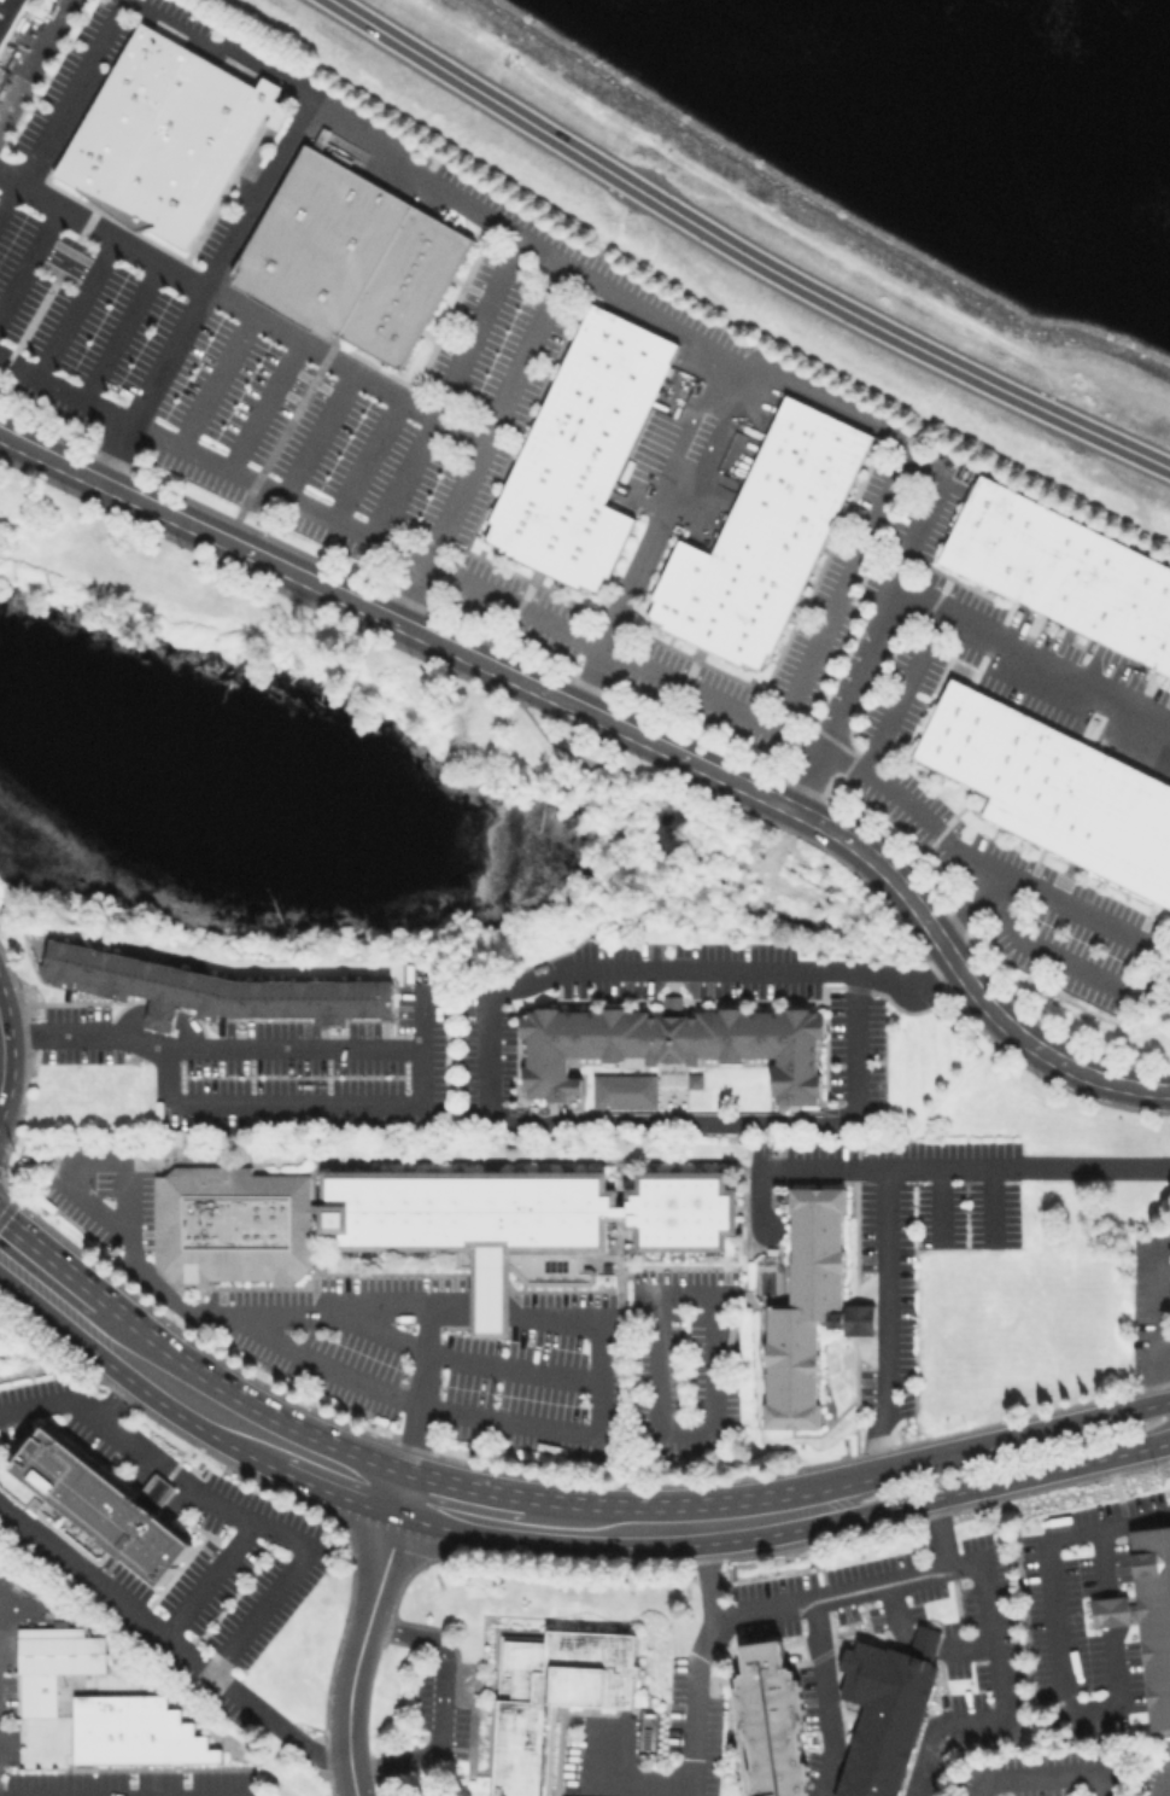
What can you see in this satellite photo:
building: (8, 16)
road: (33, 60)
building: (169, 139)
road: (741, 252)
building: (347, 256)
road: (29, 257)
road: (579, 270)
road: (206, 290)
road: (76, 305)
road: (251, 313)
road: (122, 330)
road: (215, 379)
road: (445, 384)
road: (262, 403)
road: (496, 412)
road: (317, 432)
building: (580, 451)
road: (365, 457)
road: (655, 533)
building: (761, 538)
building: (1064, 570)
road: (842, 588)
road: (413, 593)
road: (538, 617)
road: (1030, 653)
road: (900, 688)
road: (616, 725)
building: (1054, 787)
road: (1078, 910)
road: (1046, 955)
building: (217, 991)
building: (671, 1003)
road: (422, 1020)
road: (86, 1034)
building: (677, 1045)
road: (489, 1081)
building: (697, 1081)
building: (625, 1092)
road: (423, 1107)
road: (887, 1183)
road: (13, 1199)
building: (434, 1218)
building: (771, 1260)
road: (42, 1282)
road: (1158, 1293)
road: (446, 1305)
road: (379, 1307)
road: (491, 1307)
building: (809, 1310)
road: (561, 1313)
road: (402, 1336)
road: (113, 1340)
road: (310, 1358)
road: (1160, 1372)
road: (427, 1401)
road: (83, 1406)
road: (212, 1410)
road: (723, 1433)
road: (982, 1450)
road: (346, 1476)
road: (985, 1486)
building: (106, 1505)
road: (462, 1511)
road: (714, 1526)
road: (268, 1527)
road: (572, 1527)
road: (946, 1533)
road: (1107, 1565)
road: (384, 1570)
road: (216, 1582)
road: (764, 1609)
road: (894, 1611)
building: (1110, 1613)
road: (1113, 1613)
road: (993, 1616)
building: (1156, 1616)
road: (1061, 1635)
road: (168, 1637)
road: (926, 1642)
road: (971, 1643)
building: (929, 1645)
building: (63, 1648)
road: (706, 1660)
road: (831, 1697)
building: (552, 1698)
road: (446, 1705)
building: (777, 1718)
building: (889, 1718)
road: (349, 1720)
building: (135, 1730)
road: (1042, 1778)
road: (627, 1788)
road: (1166, 1789)

